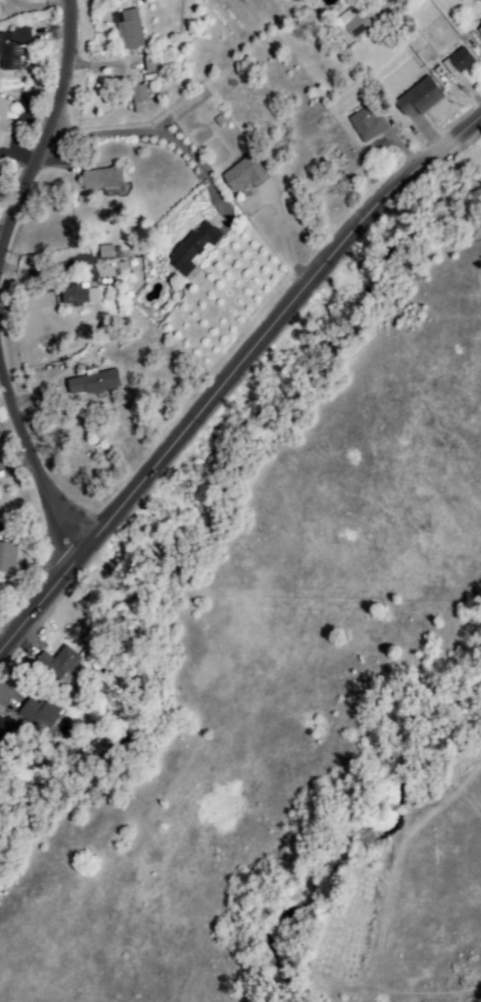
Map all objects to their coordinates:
building: (350, 24)
building: (129, 27)
building: (478, 30)
building: (12, 49)
building: (458, 61)
building: (421, 97)
building: (137, 99)
building: (3, 117)
building: (368, 123)
road: (47, 129)
road: (150, 131)
building: (244, 174)
building: (101, 179)
building: (192, 247)
building: (104, 252)
building: (77, 296)
road: (231, 374)
building: (92, 383)
road: (34, 462)
building: (6, 557)
building: (58, 664)
building: (38, 714)
building: (4, 730)

